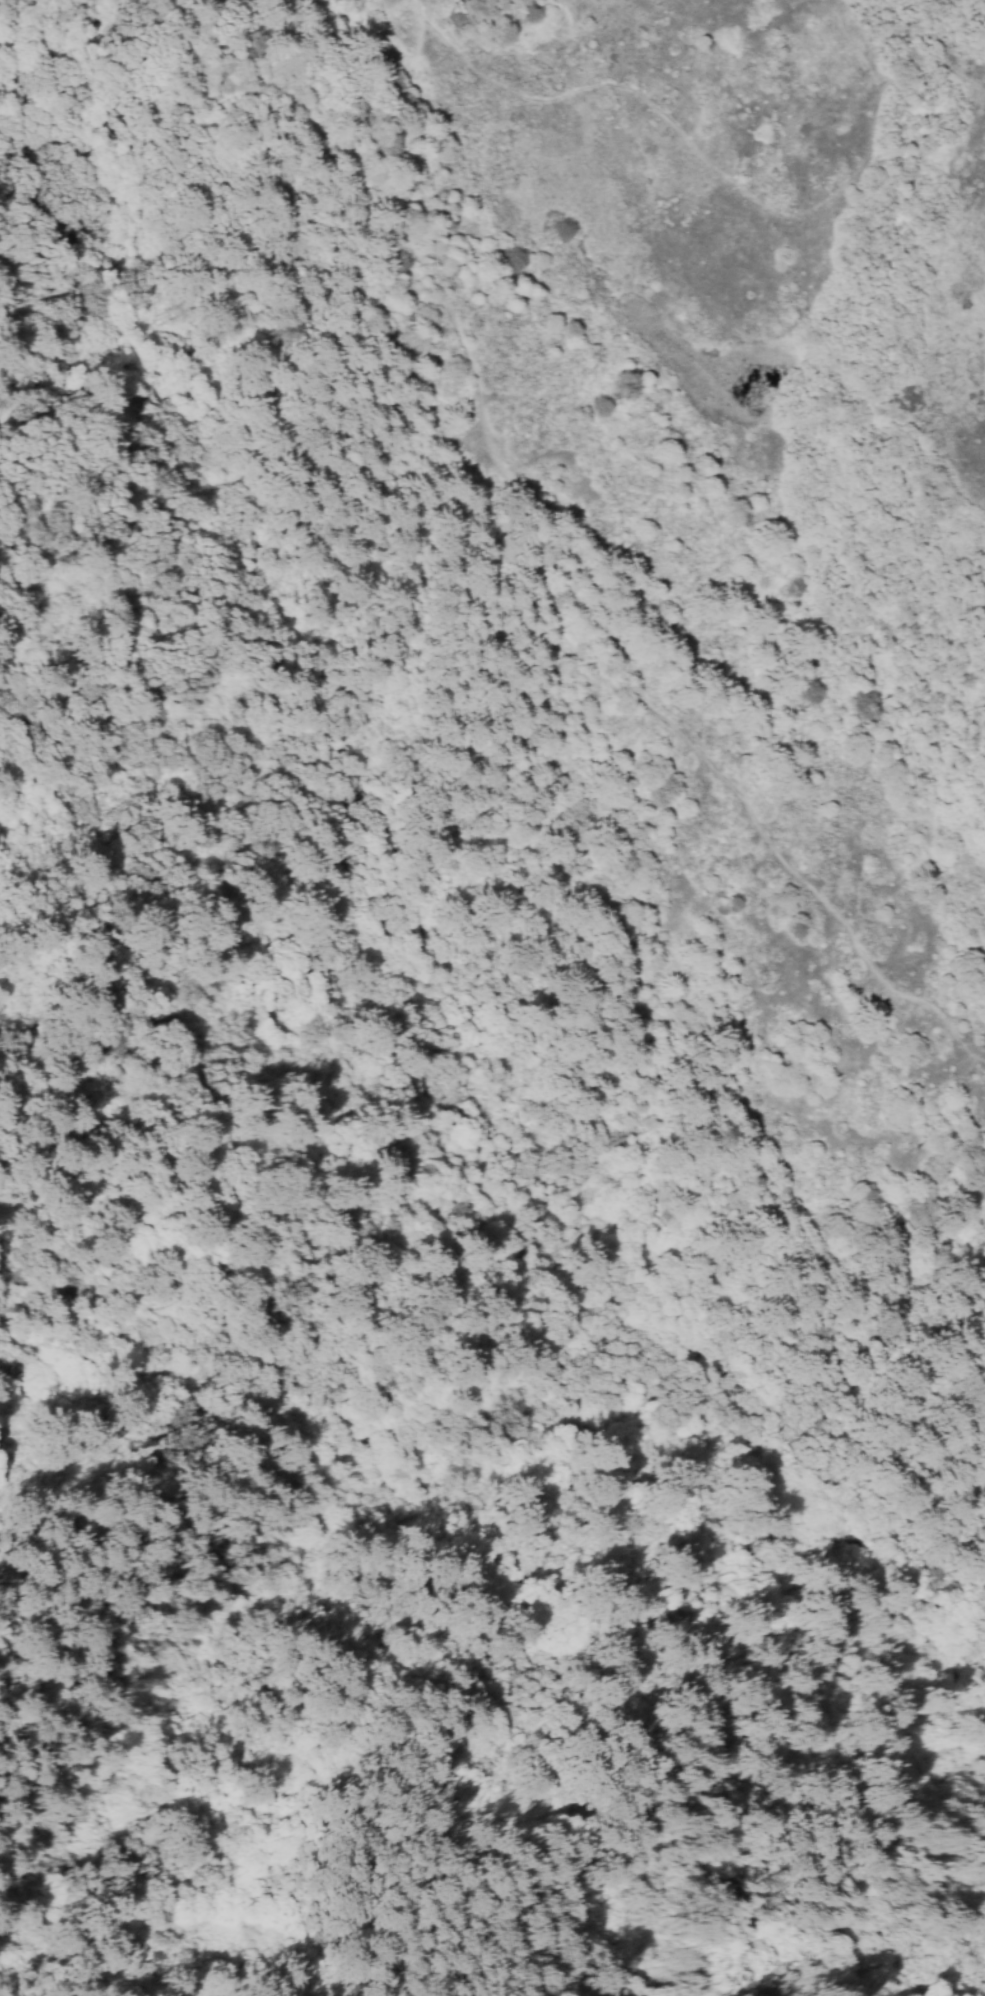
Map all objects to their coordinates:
road: (423, 10)
road: (728, 175)
road: (517, 489)

